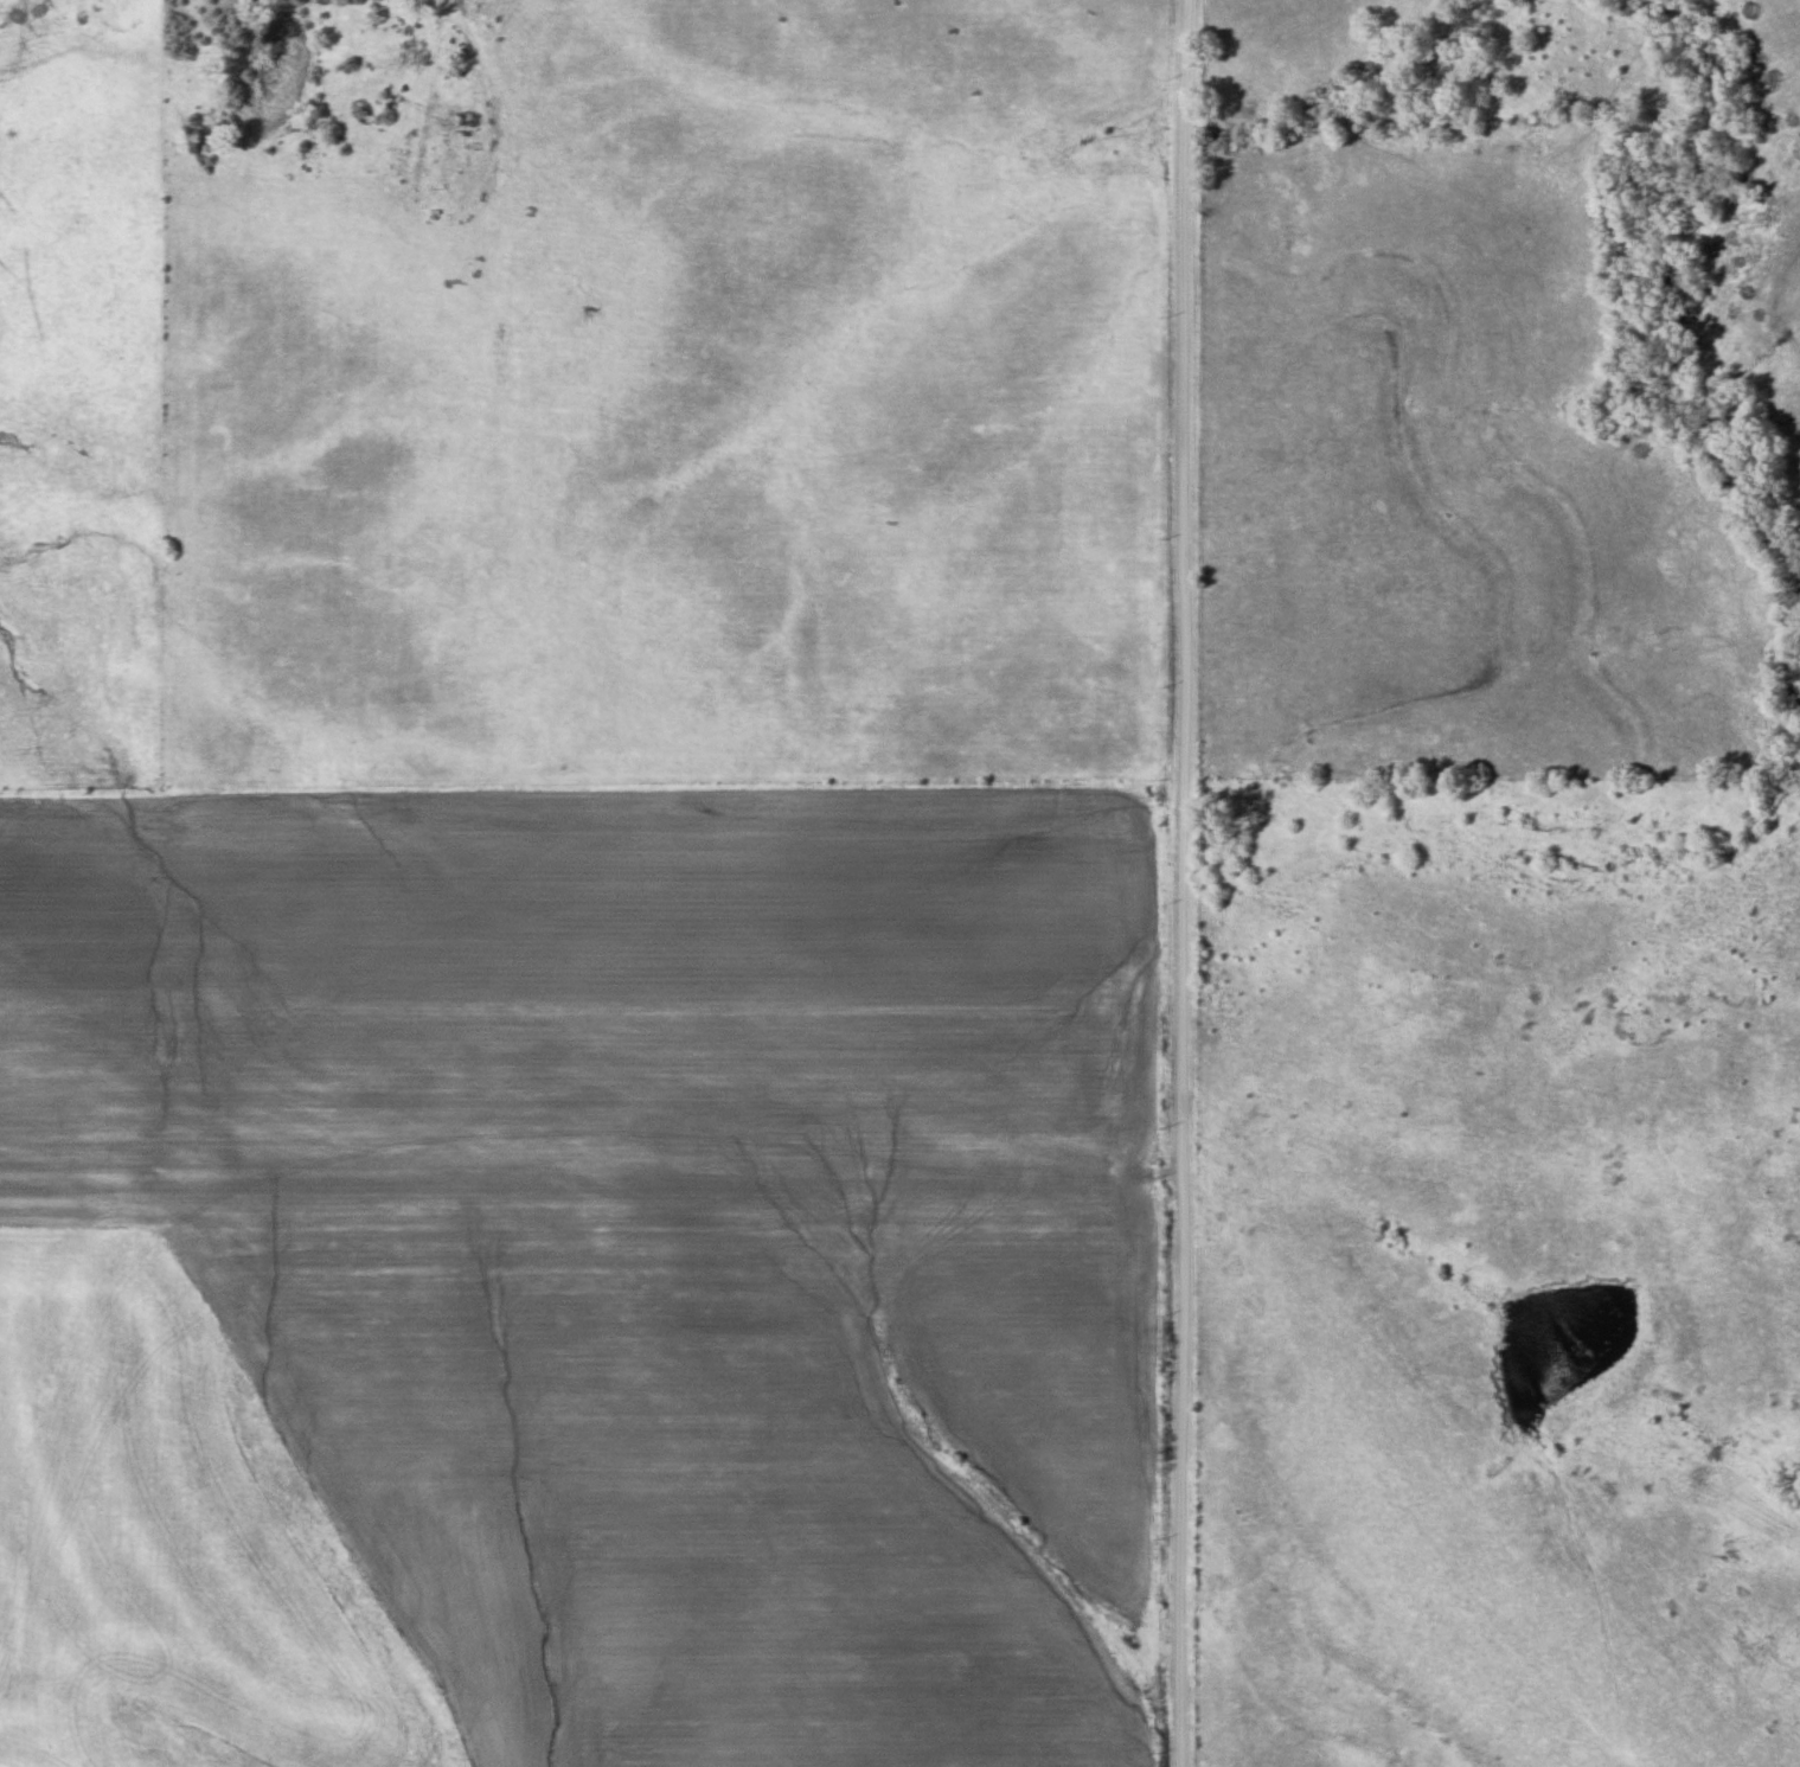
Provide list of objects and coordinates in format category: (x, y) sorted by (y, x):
road: (1187, 883)

